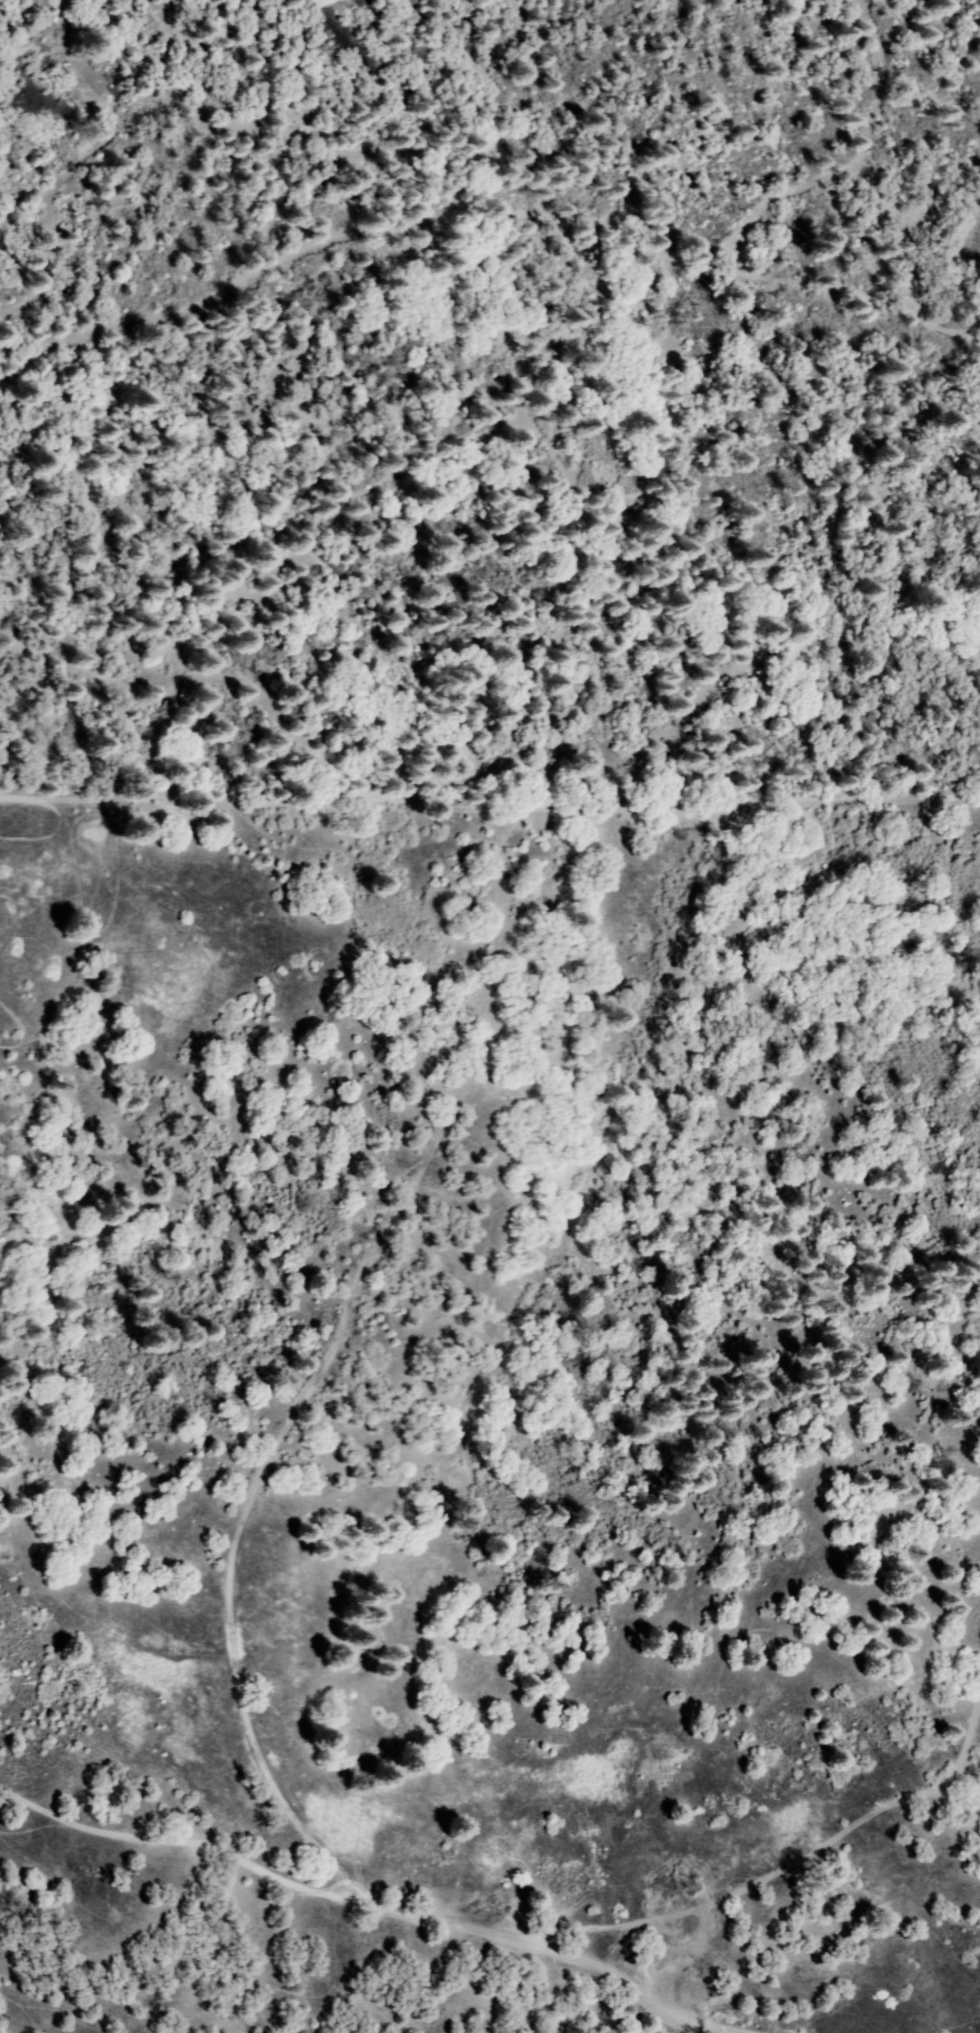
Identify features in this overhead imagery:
road: (365, 1909)

